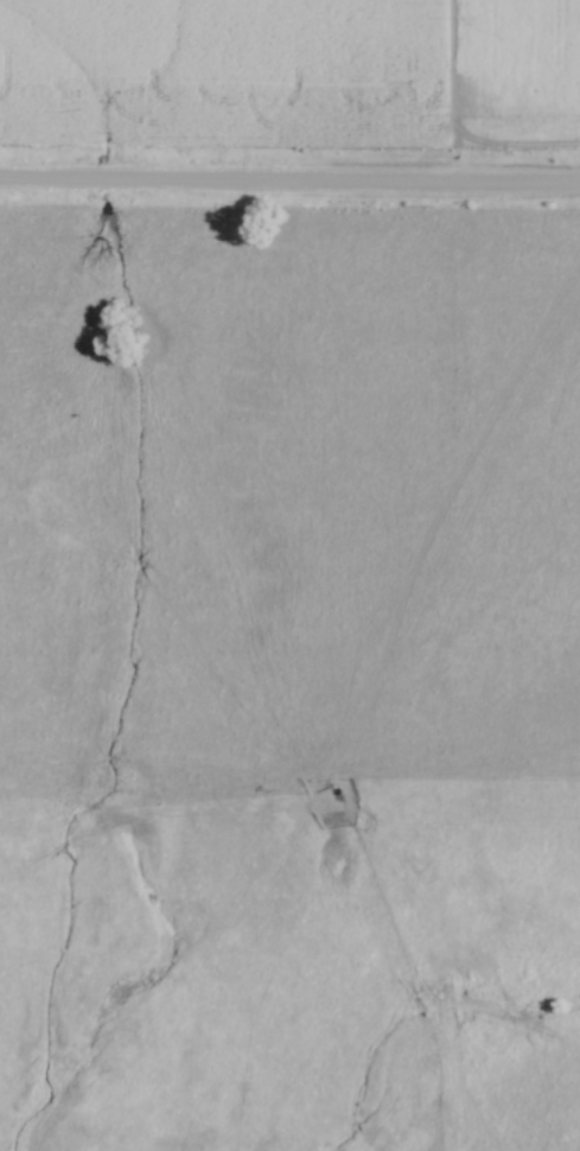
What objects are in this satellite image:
road: (289, 189)

